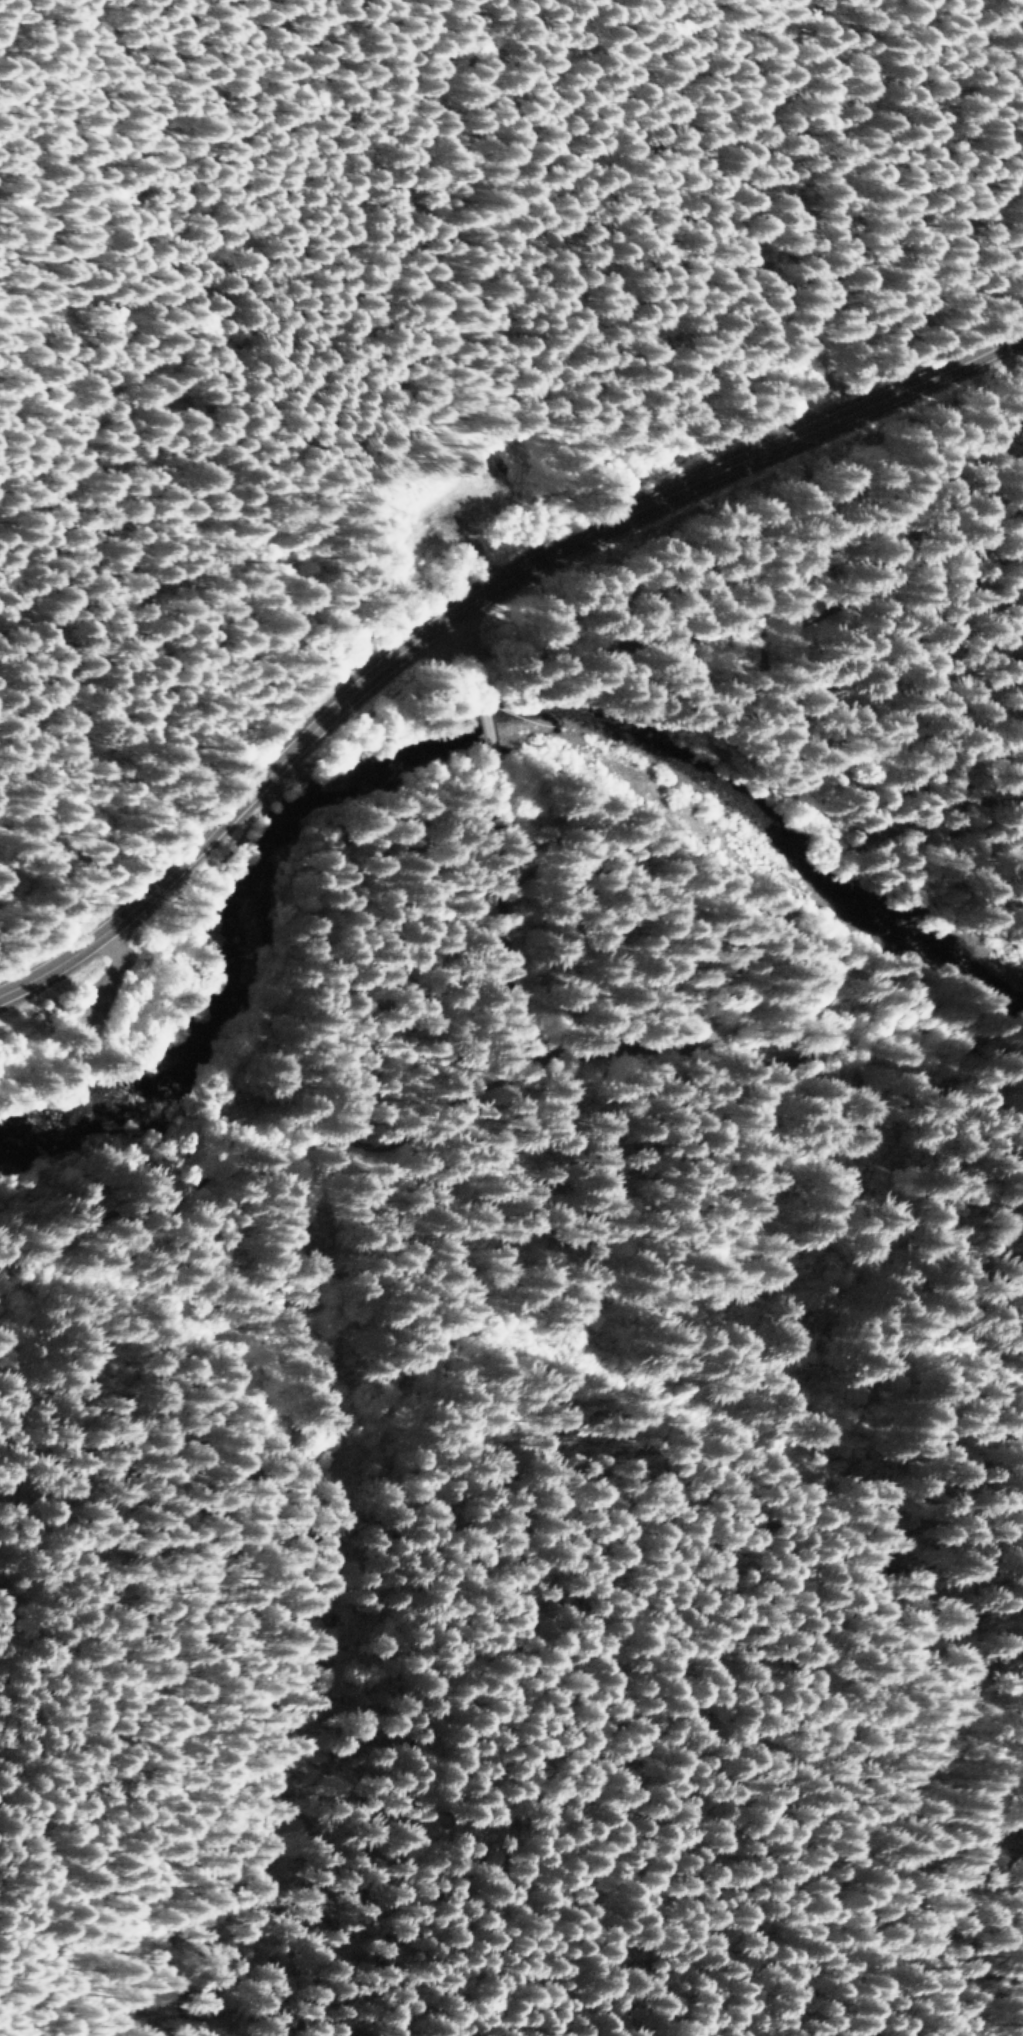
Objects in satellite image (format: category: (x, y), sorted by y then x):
road: (321, 196)
road: (457, 596)
road: (736, 620)
river: (440, 738)
road: (520, 852)
road: (788, 1039)
road: (273, 1212)

